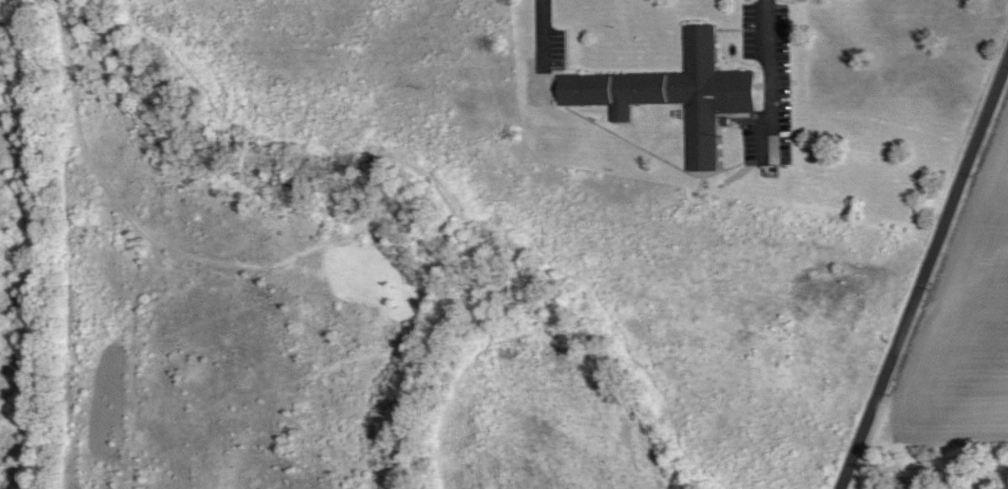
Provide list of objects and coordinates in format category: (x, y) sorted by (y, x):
road: (544, 30)
road: (770, 66)
building: (676, 93)
road: (925, 269)
building: (903, 482)

